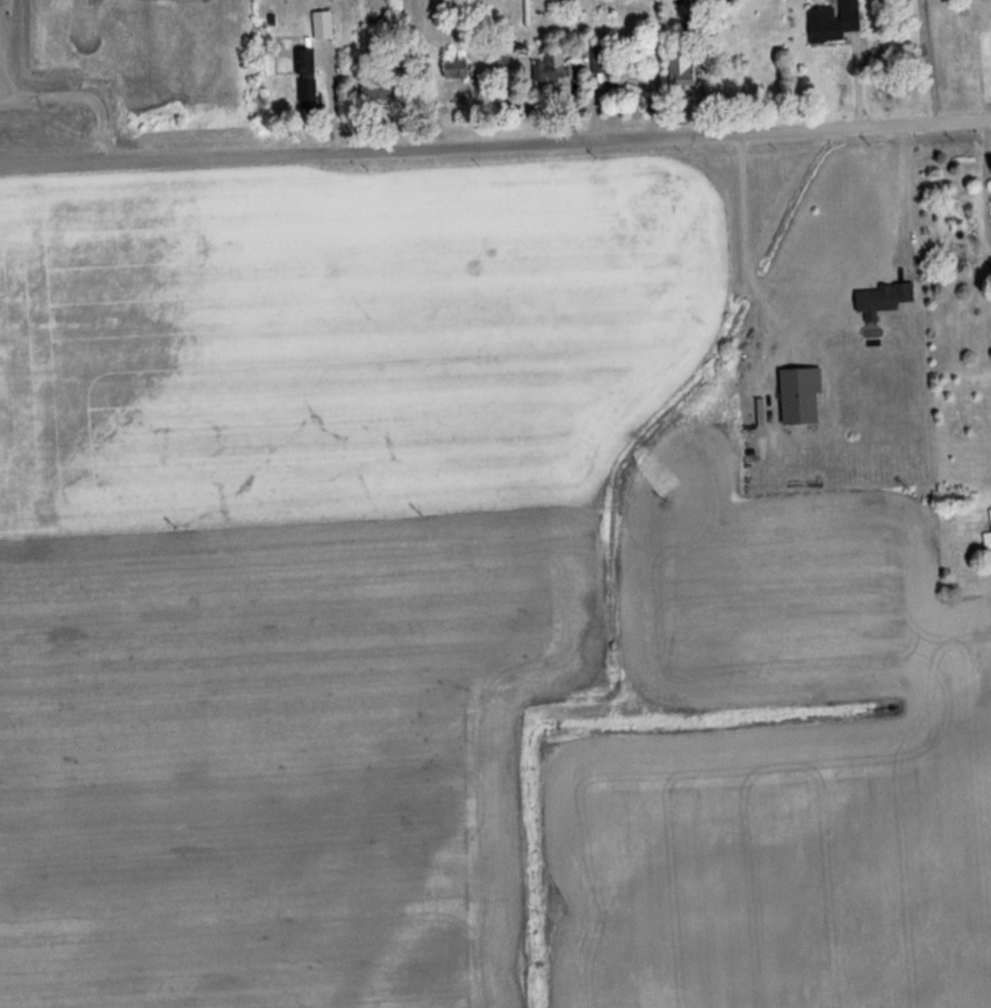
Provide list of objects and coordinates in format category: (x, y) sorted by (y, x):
building: (835, 23)
building: (324, 26)
building: (690, 27)
building: (602, 59)
building: (681, 69)
building: (551, 71)
building: (307, 78)
building: (382, 91)
road: (495, 147)
building: (884, 299)
building: (801, 397)

